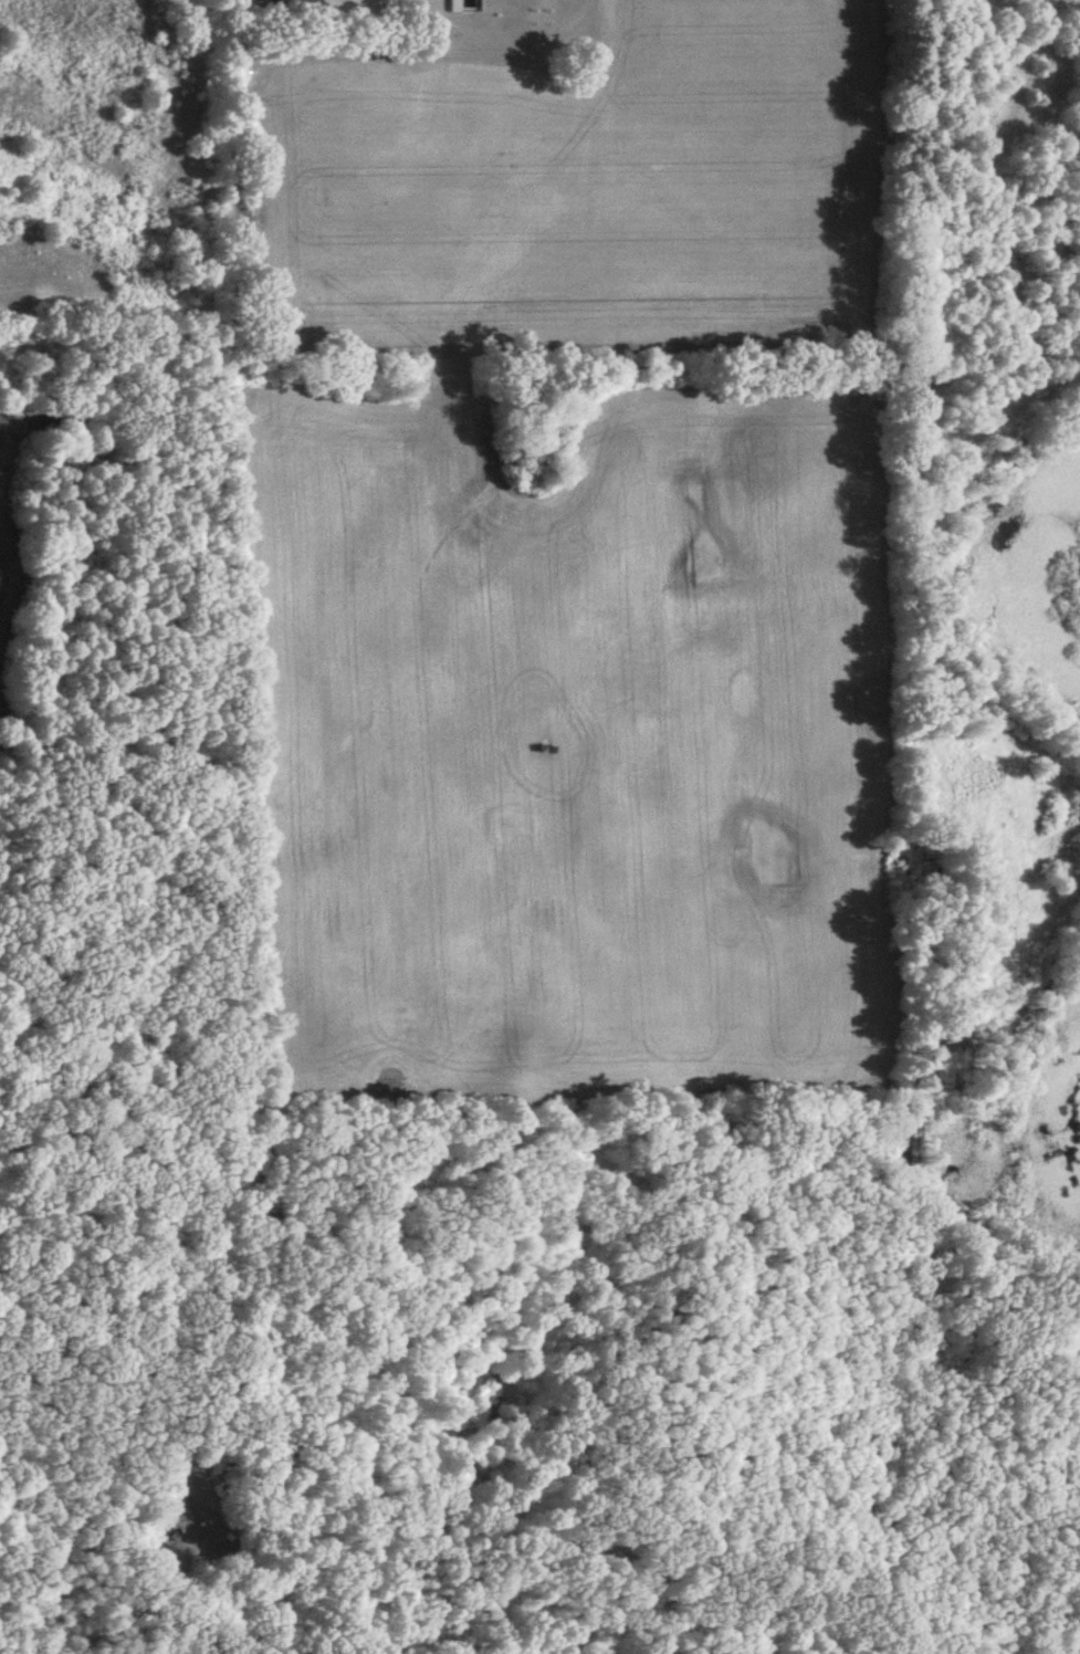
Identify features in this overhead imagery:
building: (290, 2)

